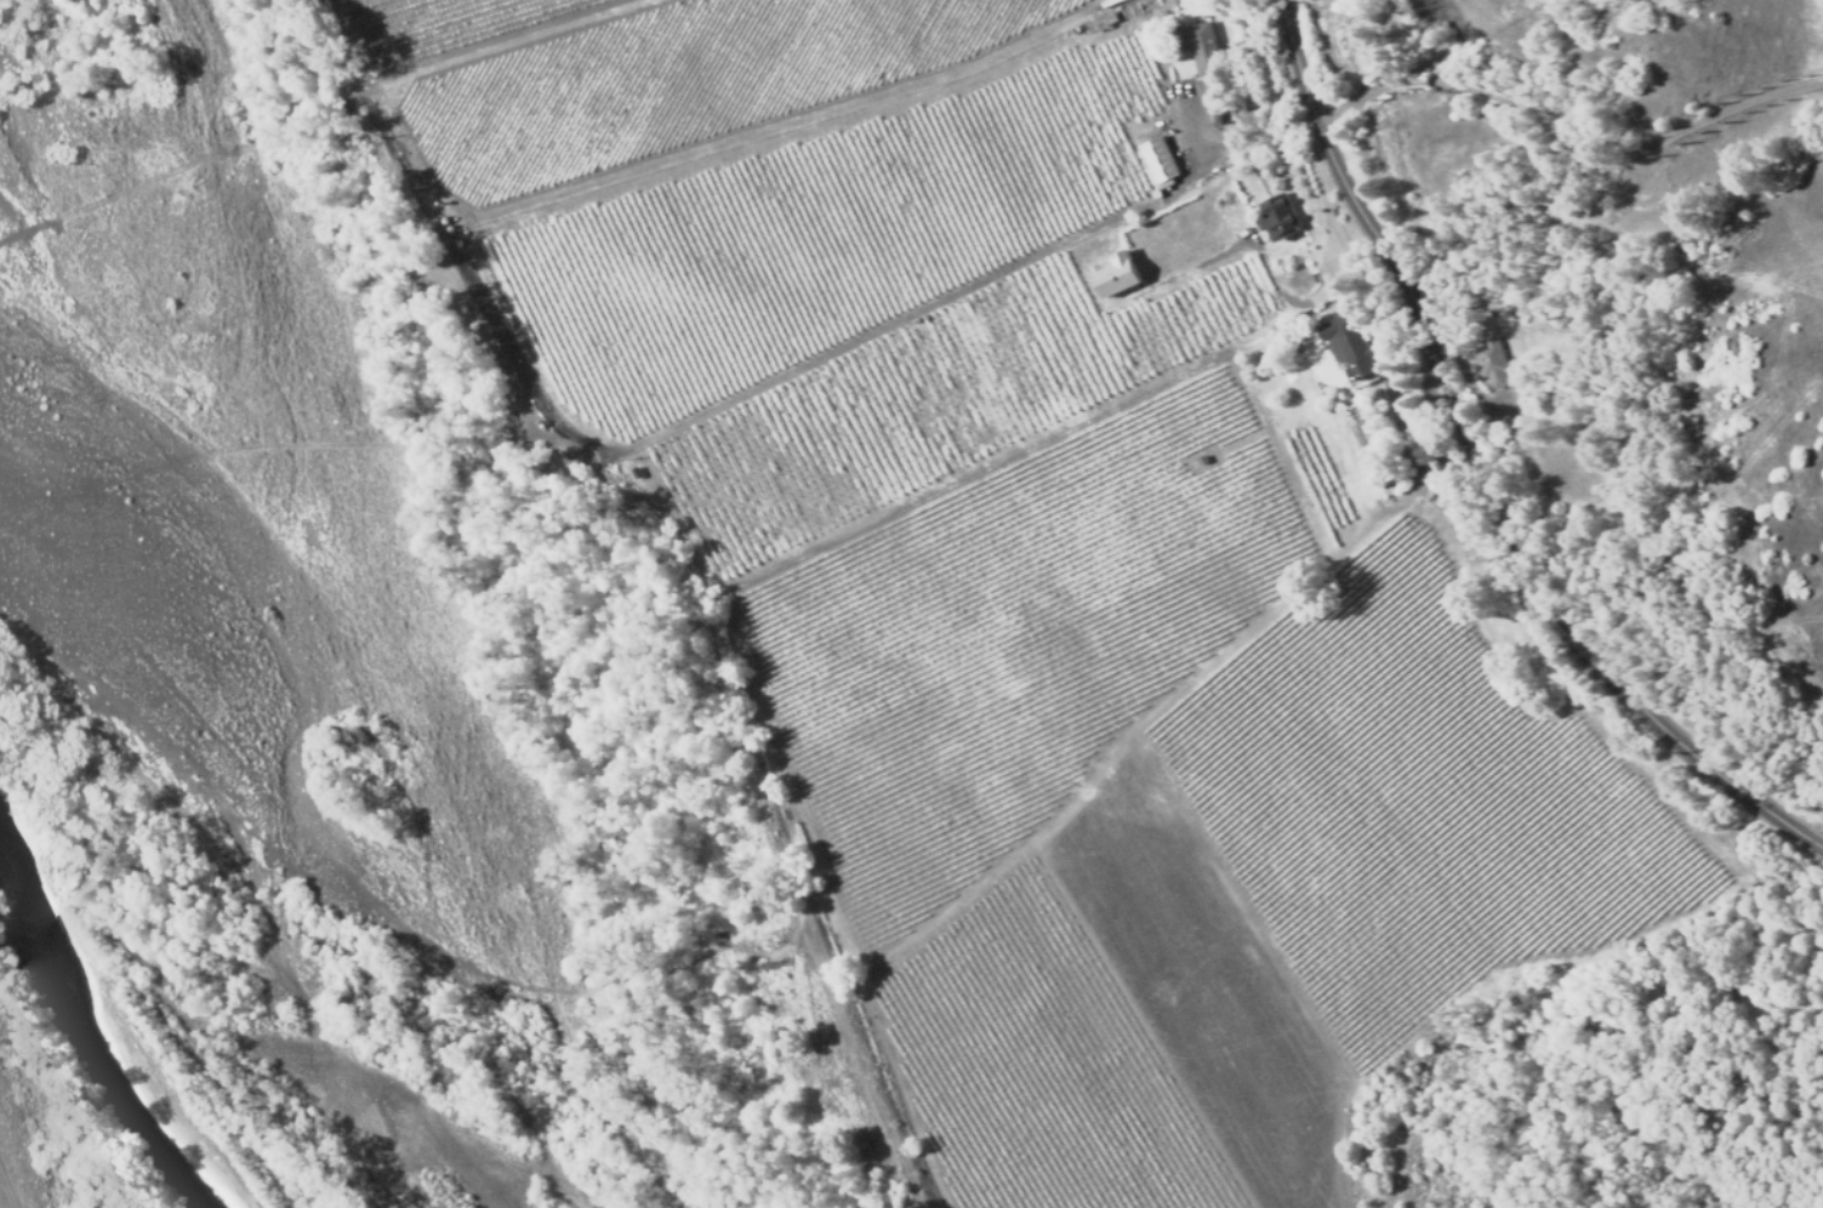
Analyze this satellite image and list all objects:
building: (1198, 49)
building: (1157, 160)
building: (1277, 217)
building: (1116, 274)
building: (1348, 349)
building: (1488, 360)
building: (1514, 394)
road: (1482, 477)
river: (126, 1041)
airport: (22, 1162)

